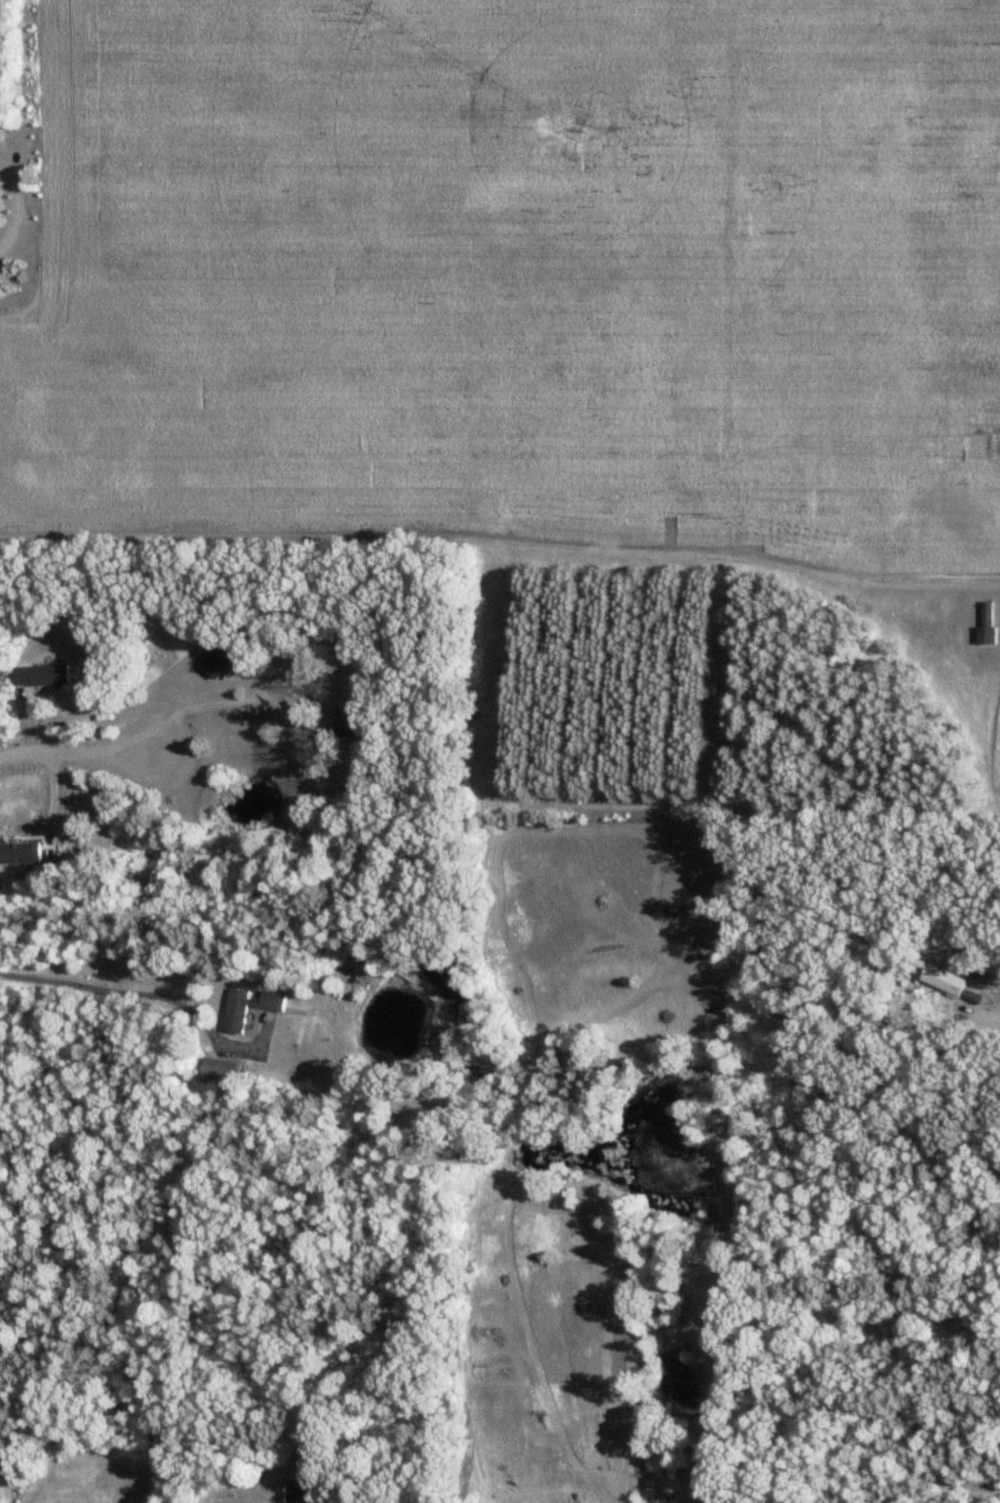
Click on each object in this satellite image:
road: (19, 212)
building: (990, 545)
building: (986, 625)
building: (219, 663)
building: (41, 678)
road: (168, 721)
building: (348, 723)
building: (945, 981)
road: (135, 996)
road: (994, 1008)
building: (236, 1009)
building: (220, 1072)
building: (302, 1483)

